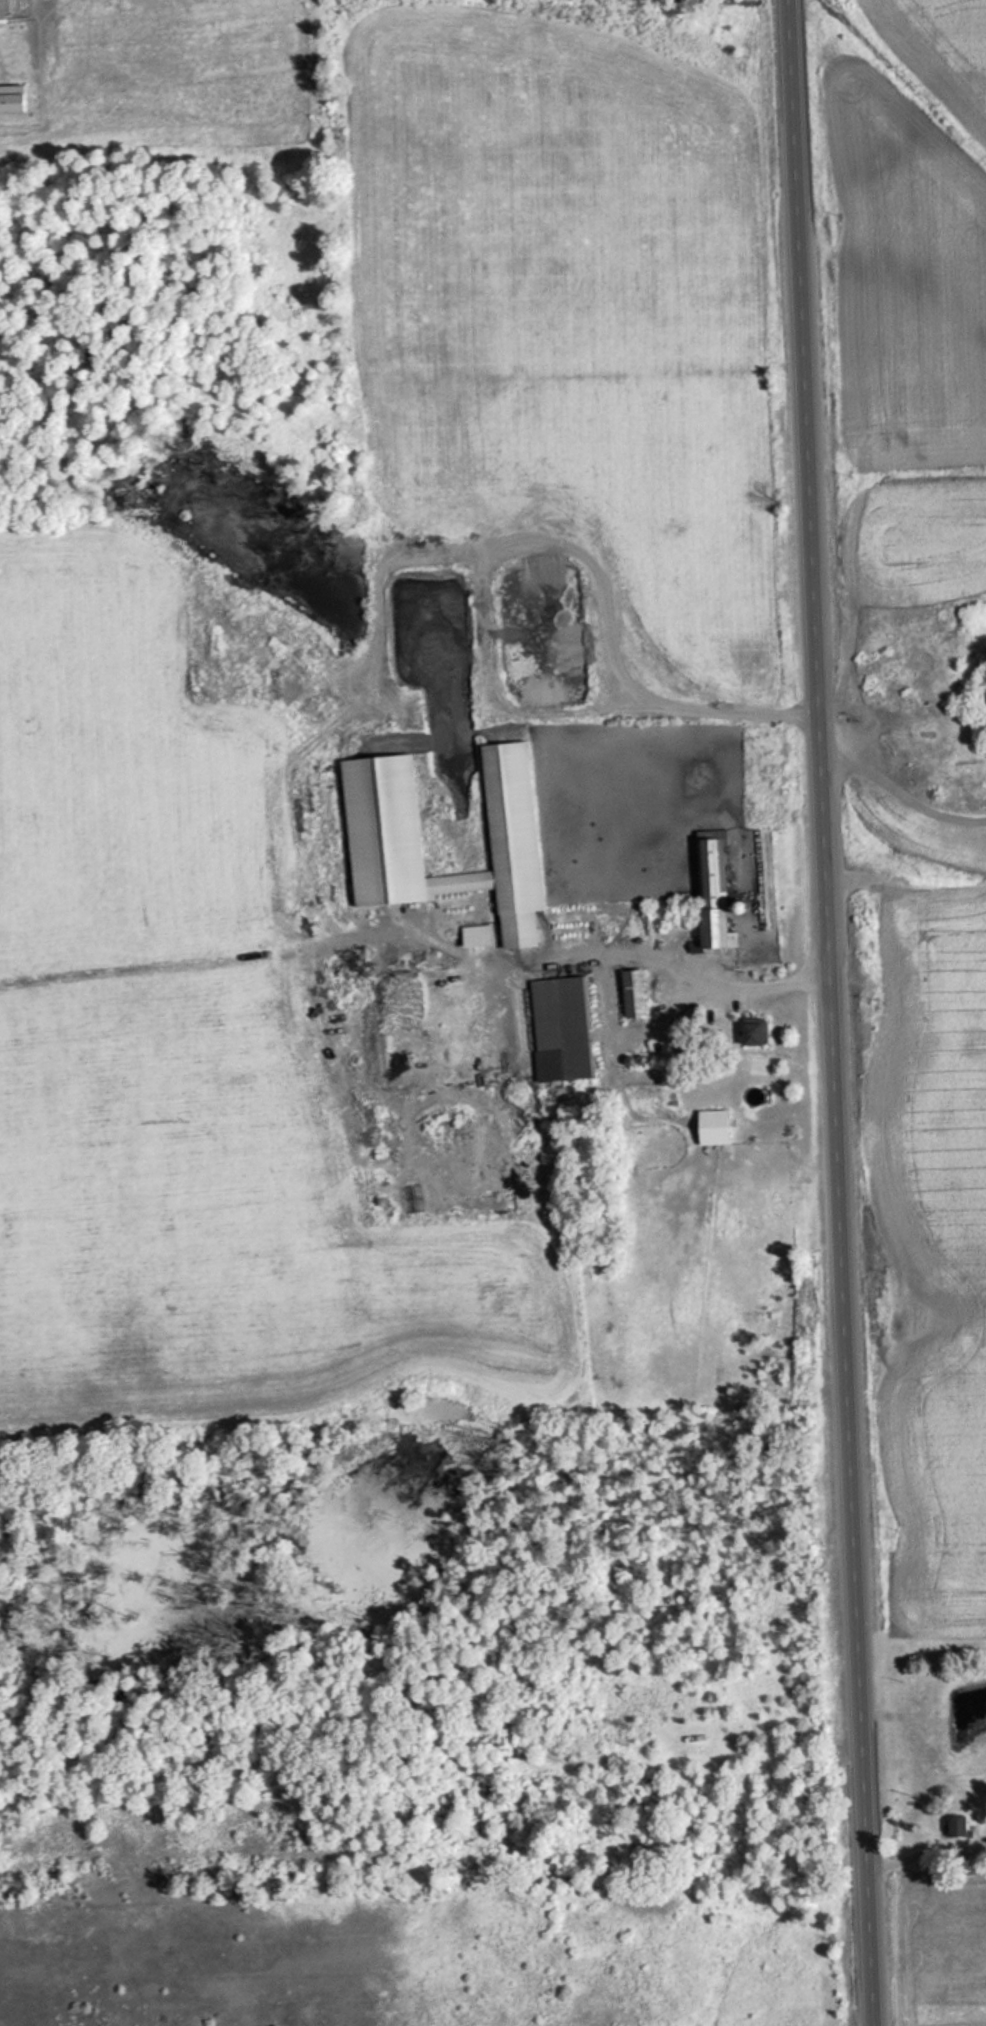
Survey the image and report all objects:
building: (513, 842)
building: (711, 893)
building: (633, 994)
road: (829, 1013)
building: (562, 1022)
building: (753, 1032)
building: (646, 1078)
building: (712, 1128)
building: (694, 1738)
building: (957, 1825)

